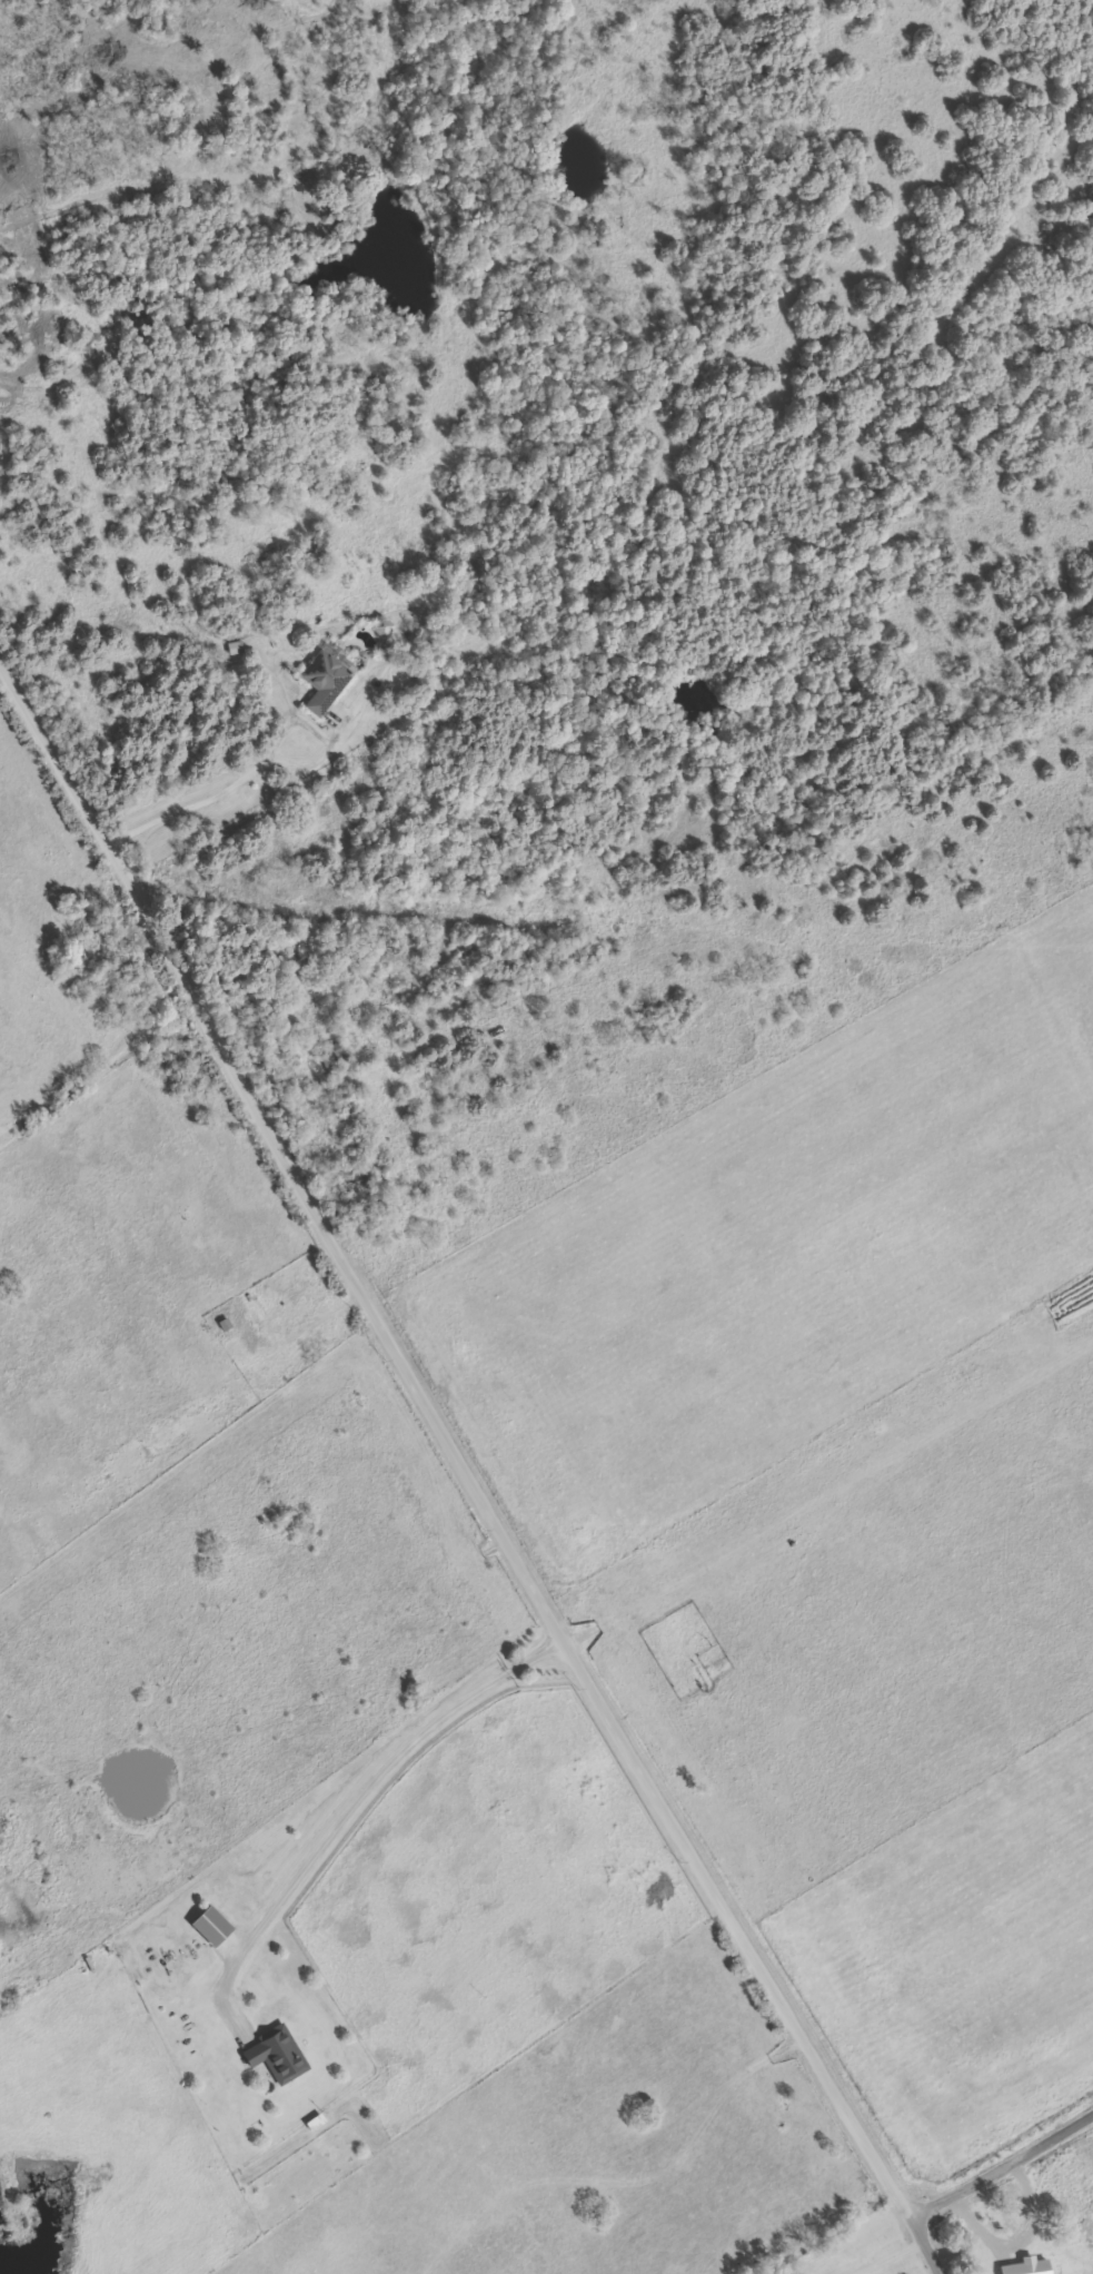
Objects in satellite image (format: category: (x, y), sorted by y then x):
building: (237, 649)
building: (329, 676)
building: (335, 1055)
road: (448, 1443)
road: (359, 1784)
building: (212, 1927)
building: (279, 2056)
road: (1001, 2163)
road: (924, 2245)

